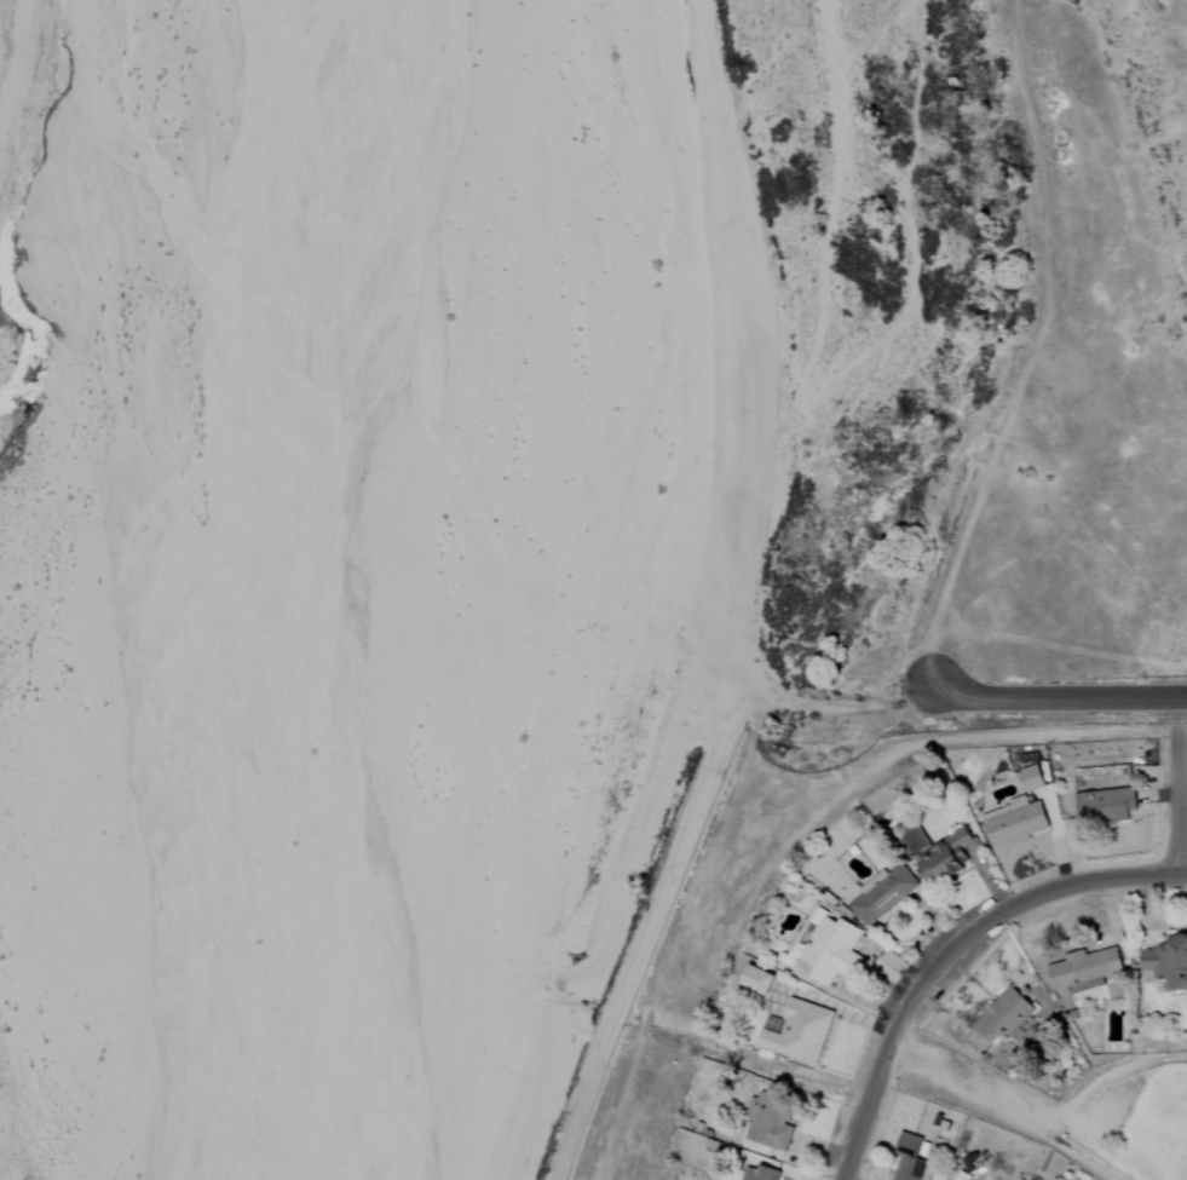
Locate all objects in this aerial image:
river: (365, 592)
road: (1062, 695)
building: (1033, 778)
building: (1107, 805)
road: (1181, 807)
building: (1016, 825)
building: (946, 858)
road: (1183, 876)
building: (874, 882)
building: (883, 896)
building: (831, 951)
road: (949, 955)
building: (1168, 963)
building: (1085, 969)
building: (760, 980)
building: (1008, 1018)
building: (799, 1032)
building: (772, 1122)
building: (910, 1161)
building: (973, 1163)
building: (759, 1174)

